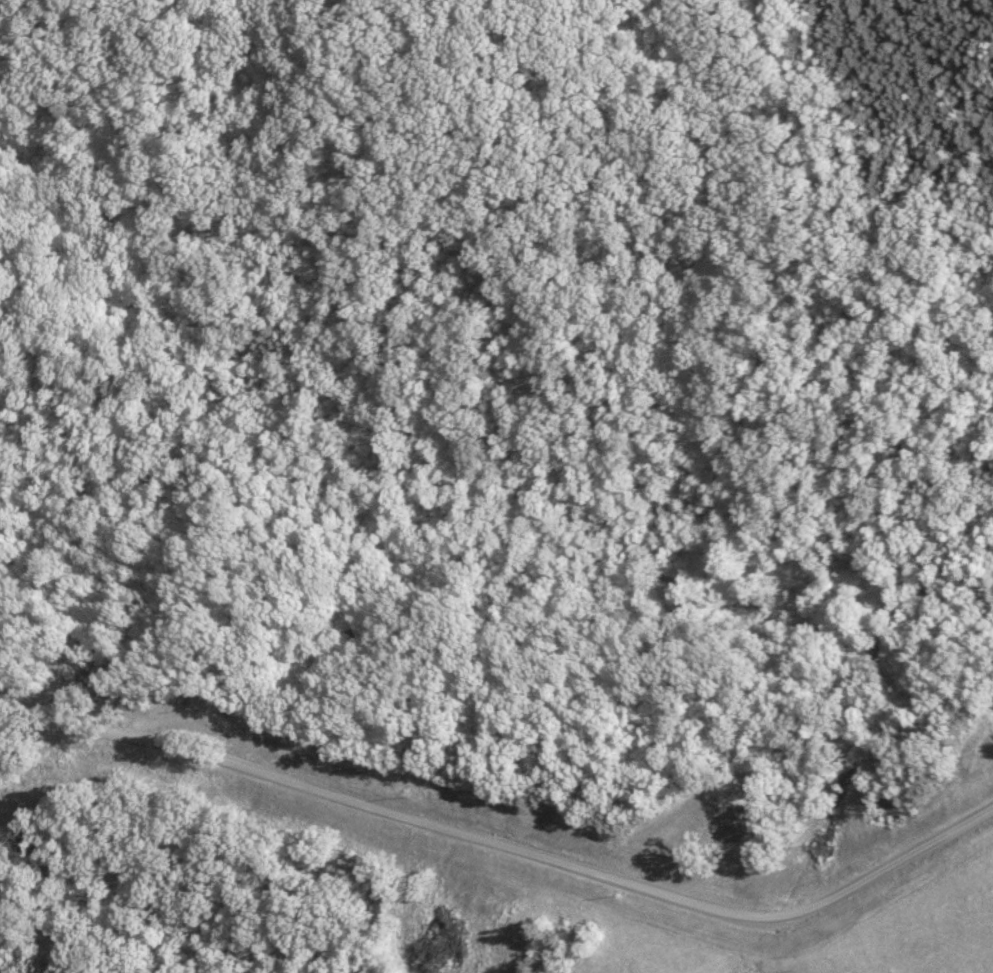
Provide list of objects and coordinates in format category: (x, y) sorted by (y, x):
road: (506, 840)

